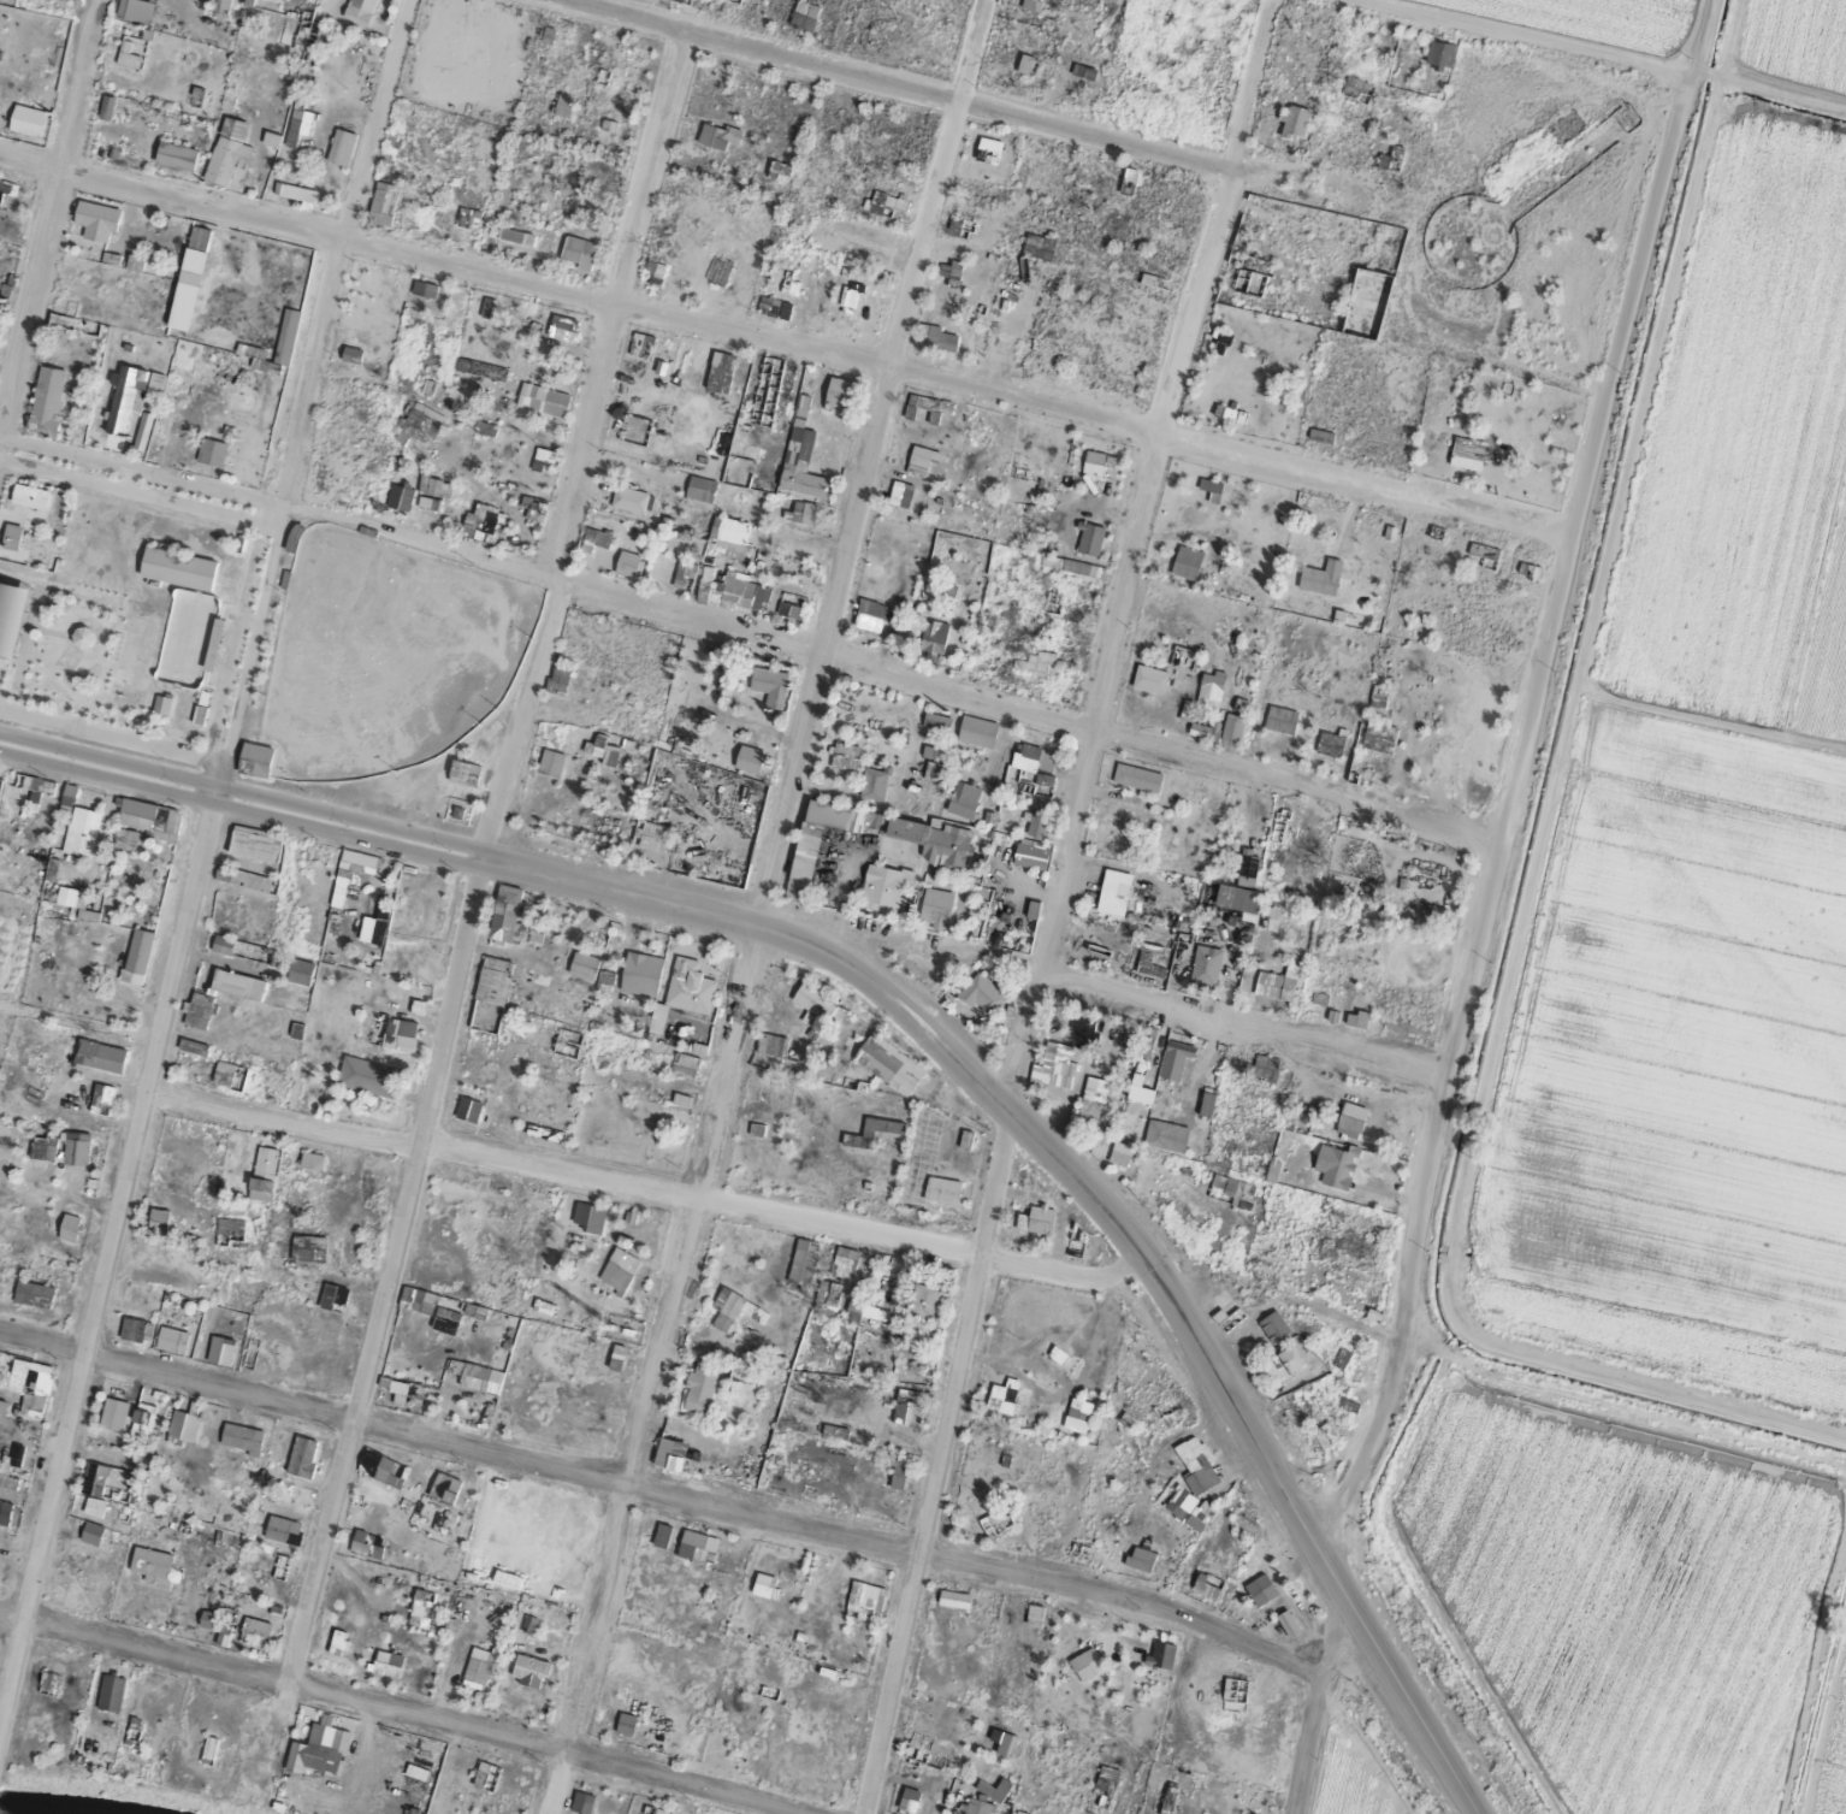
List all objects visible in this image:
road: (1493, 41)
road: (1693, 85)
road: (1775, 104)
road: (964, 110)
road: (45, 185)
road: (332, 242)
road: (781, 353)
road: (136, 477)
road: (119, 486)
road: (264, 497)
road: (272, 500)
road: (132, 502)
road: (237, 626)
road: (221, 655)
road: (239, 658)
road: (882, 681)
road: (239, 794)
road: (191, 811)
road: (201, 814)
road: (236, 815)
road: (1499, 819)
road: (475, 863)
road: (489, 863)
road: (486, 871)
road: (1043, 903)
road: (635, 905)
road: (751, 905)
road: (1514, 914)
road: (1107, 1000)
road: (637, 1198)
road: (99, 1251)
road: (1273, 1316)
road: (1175, 1328)
road: (681, 1506)
road: (380, 1715)
road: (1300, 1737)

